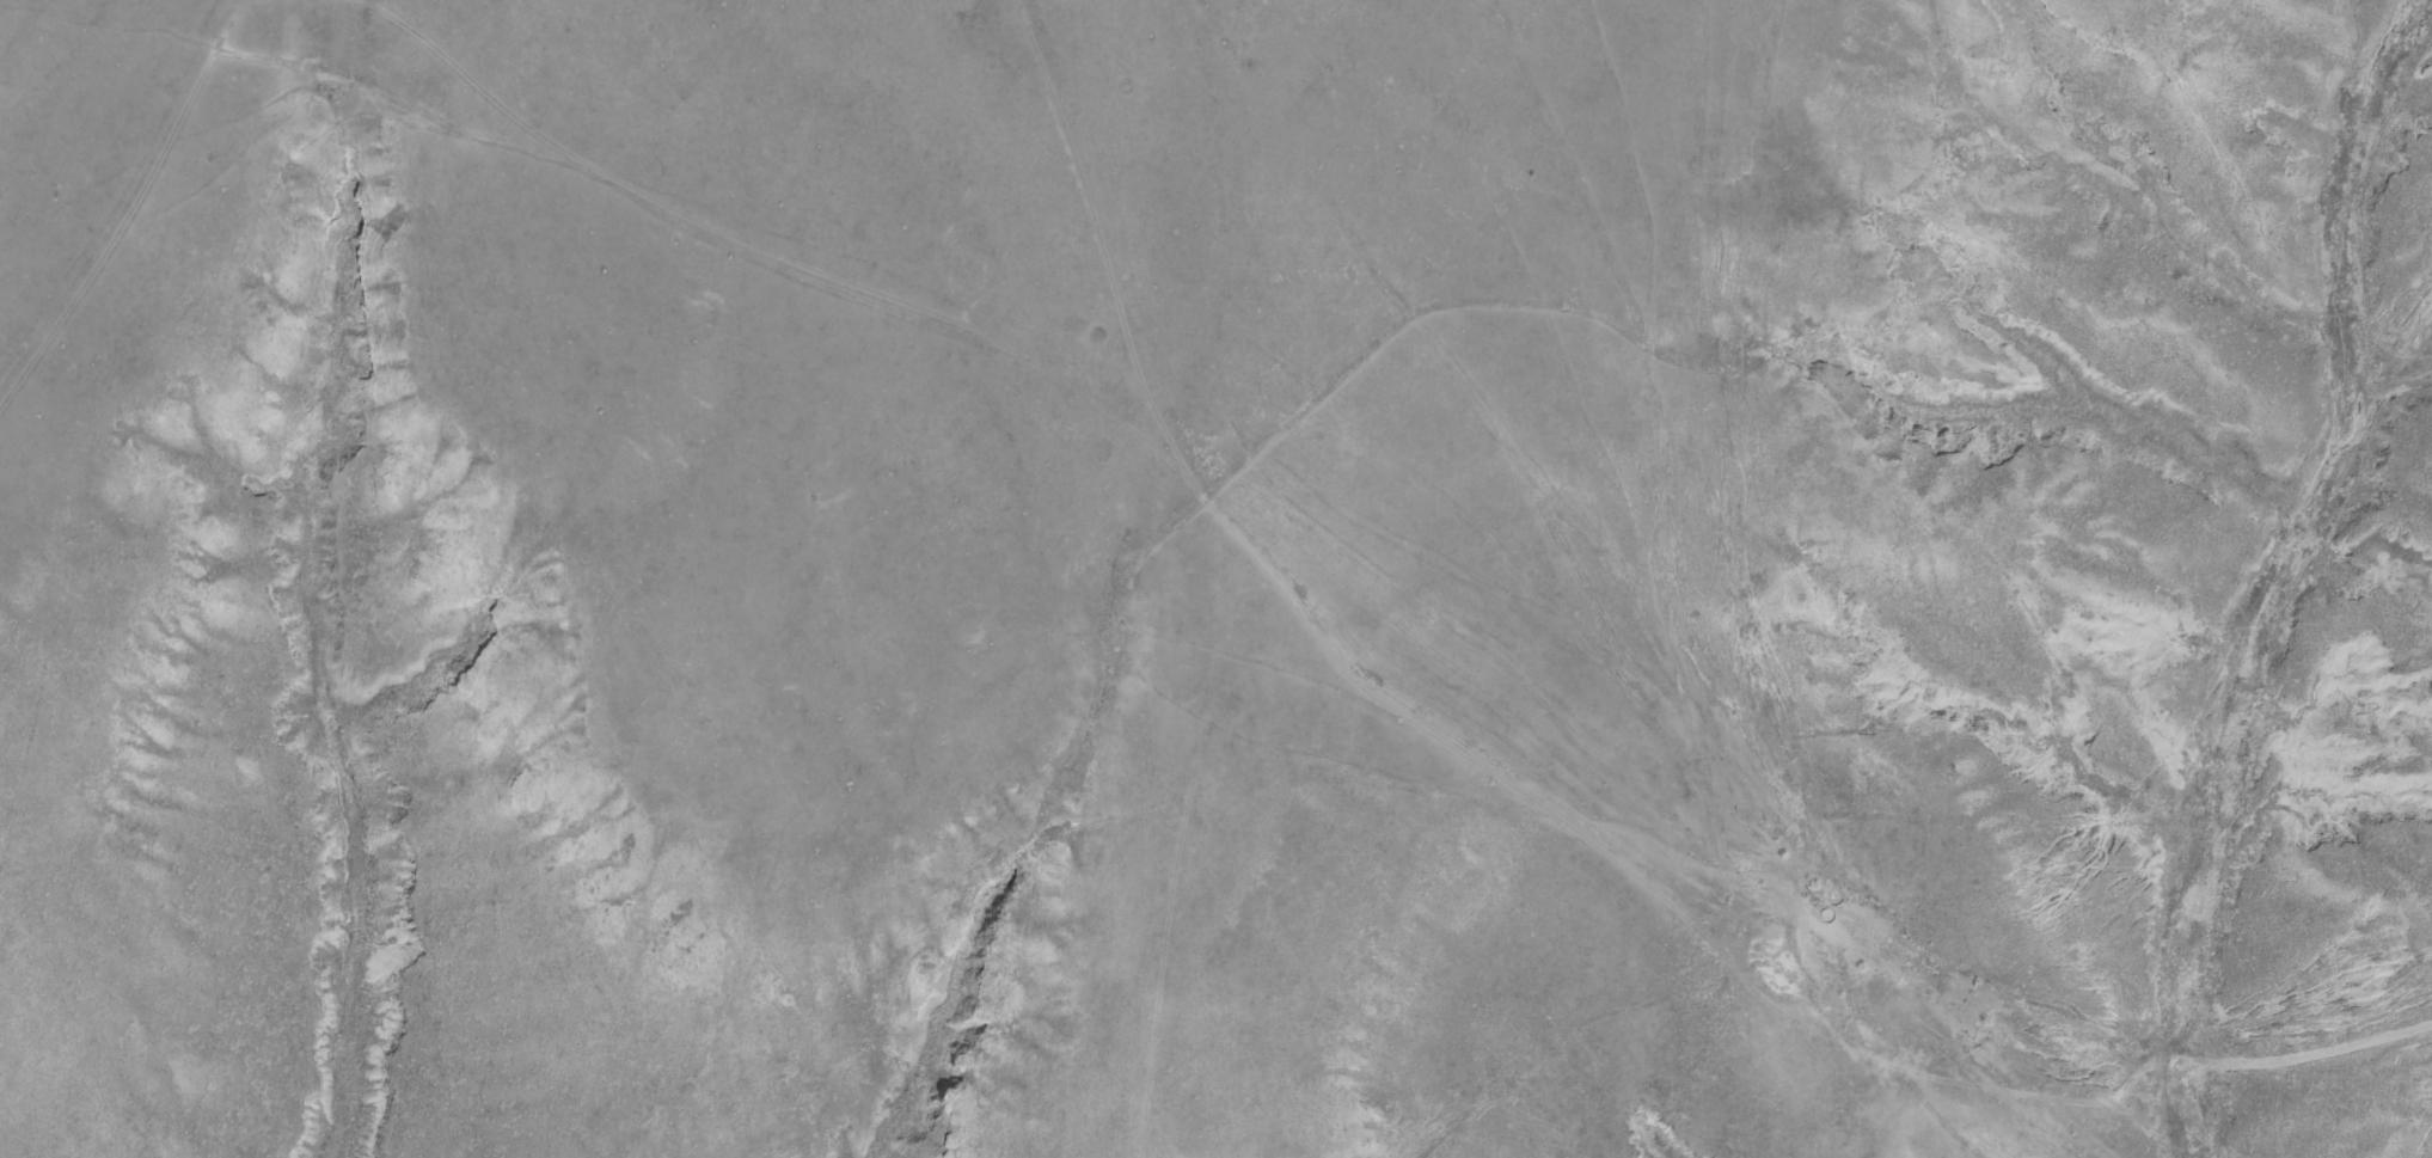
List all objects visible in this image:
road: (143, 198)
road: (1104, 370)

